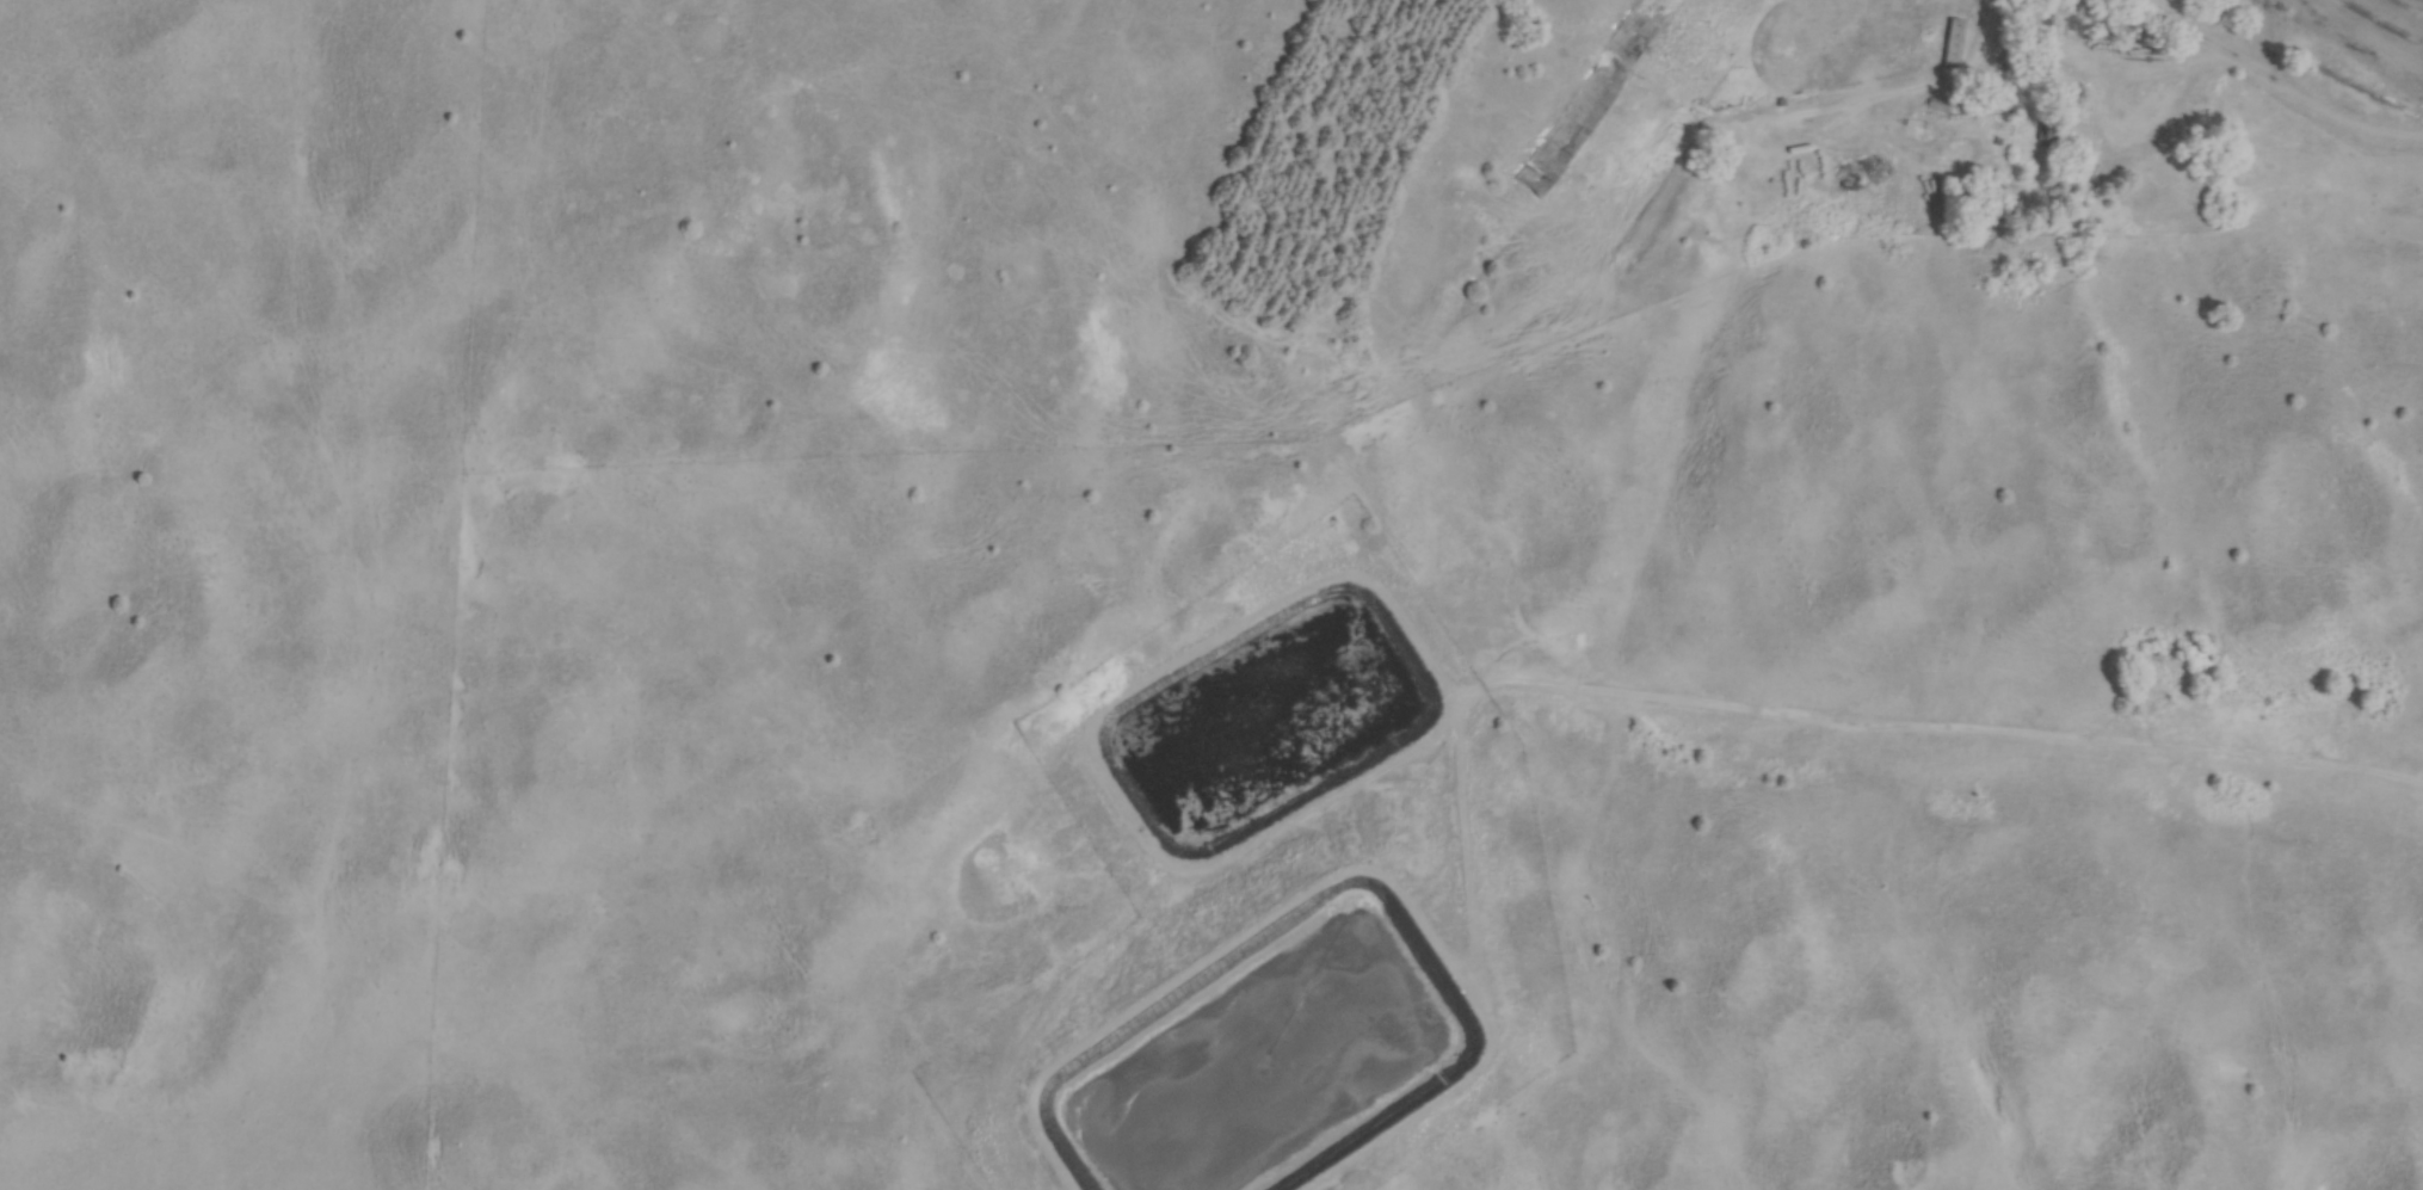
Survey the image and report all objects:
building: (1955, 45)
road: (2267, 80)
building: (2053, 134)

